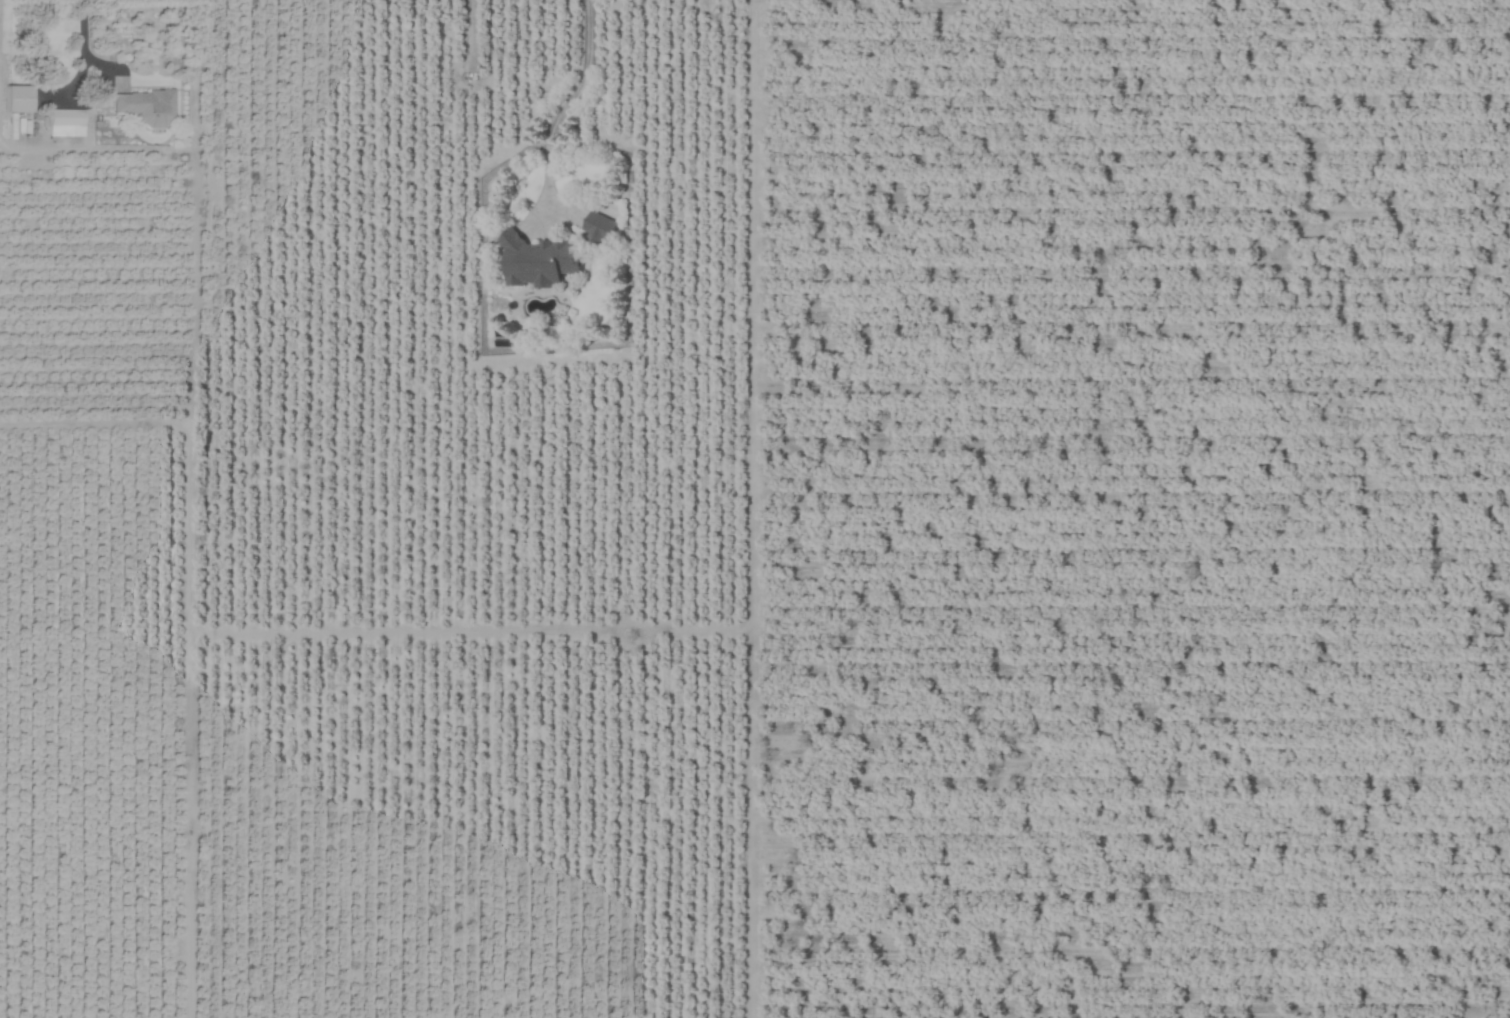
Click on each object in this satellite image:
road: (82, 40)
road: (583, 76)
building: (14, 98)
building: (143, 107)
building: (62, 123)
building: (537, 261)

